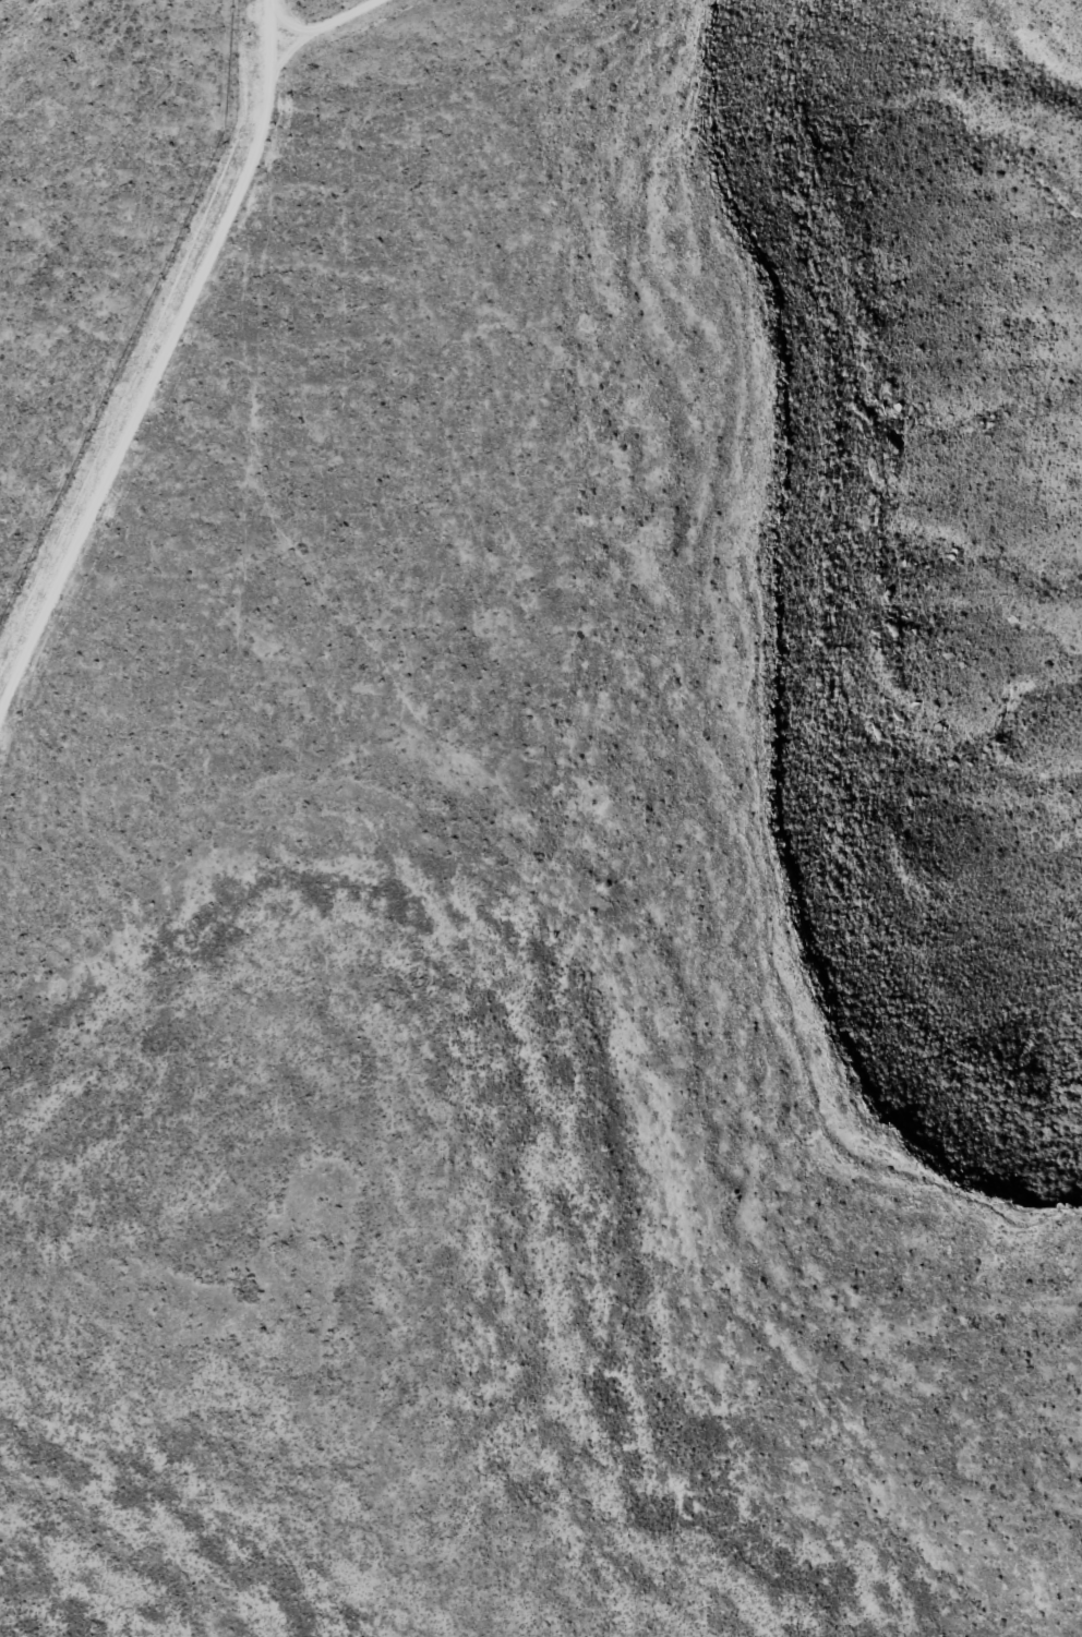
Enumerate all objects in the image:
road: (142, 306)

